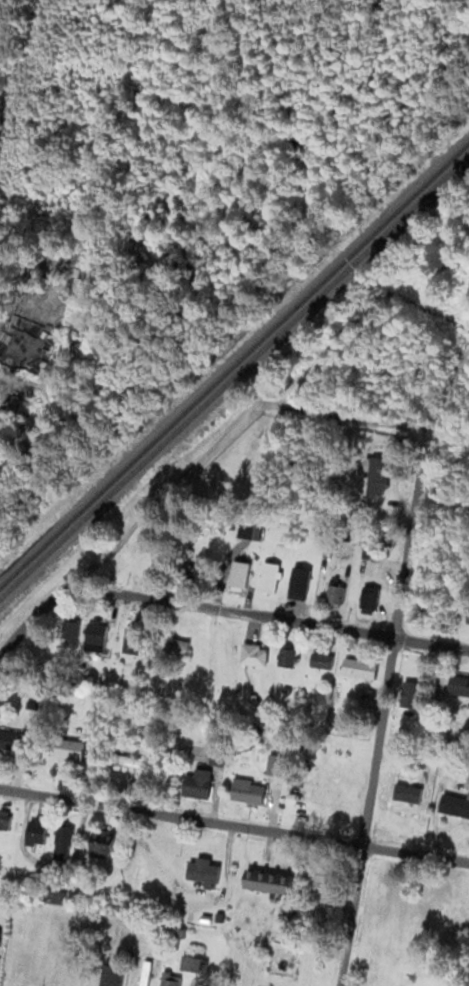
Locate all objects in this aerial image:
railway: (235, 359)
railway: (235, 372)
road: (254, 407)
building: (375, 472)
building: (252, 528)
building: (241, 576)
building: (271, 581)
building: (301, 588)
building: (338, 597)
building: (372, 601)
building: (430, 611)
road: (255, 615)
building: (468, 625)
road: (21, 631)
building: (72, 633)
building: (97, 638)
building: (134, 643)
building: (178, 650)
building: (257, 657)
building: (291, 658)
building: (324, 663)
building: (362, 670)
building: (461, 688)
building: (411, 689)
road: (382, 717)
building: (14, 741)
building: (68, 749)
building: (218, 756)
building: (130, 762)
building: (277, 765)
building: (200, 785)
building: (249, 792)
building: (456, 806)
building: (5, 820)
road: (234, 826)
building: (38, 833)
building: (65, 842)
building: (105, 846)
building: (203, 872)
building: (319, 876)
building: (270, 882)
building: (56, 897)
building: (147, 974)
building: (113, 975)
building: (173, 979)

